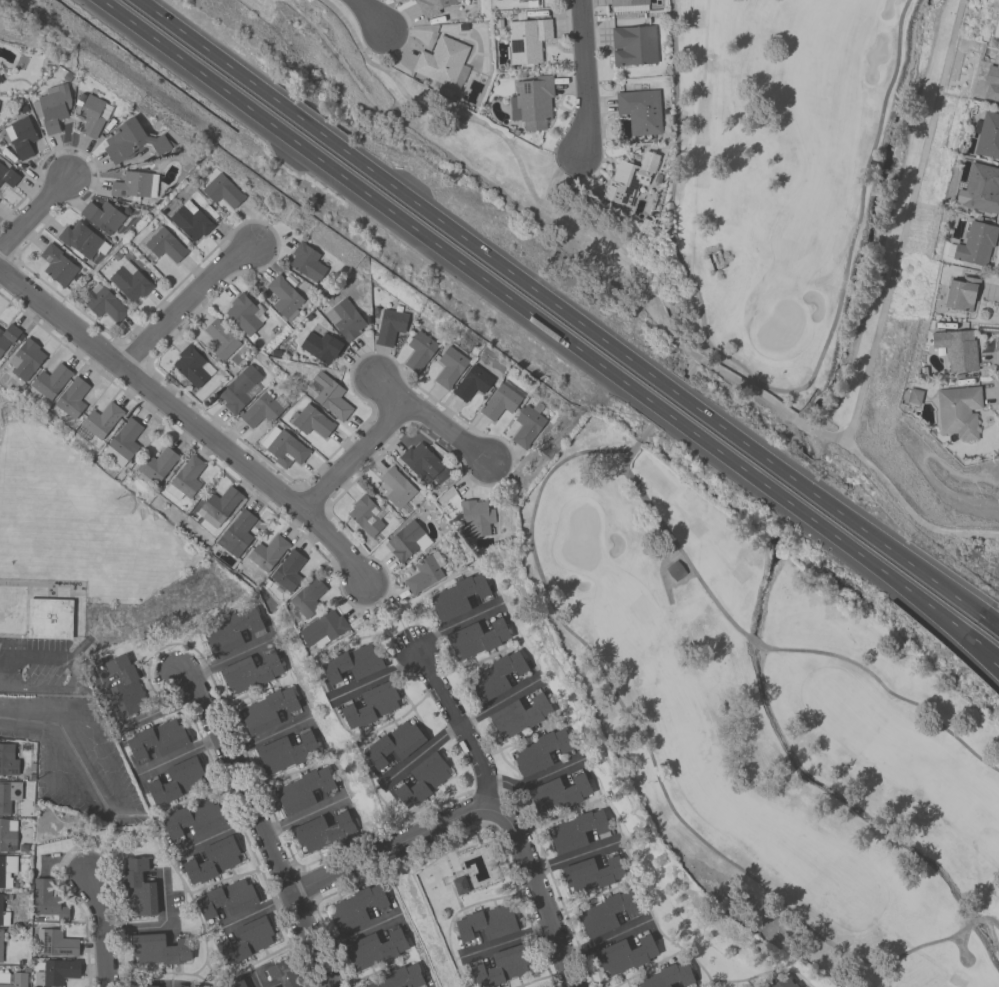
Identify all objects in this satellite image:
building: (628, 5)
building: (432, 6)
road: (367, 12)
building: (996, 27)
building: (526, 41)
building: (633, 45)
building: (443, 62)
road: (583, 75)
building: (0, 80)
building: (992, 82)
building: (531, 102)
building: (53, 107)
building: (639, 111)
building: (90, 115)
building: (988, 135)
building: (21, 136)
building: (131, 142)
building: (7, 174)
building: (629, 179)
building: (131, 185)
building: (219, 188)
building: (981, 189)
road: (33, 210)
building: (102, 216)
building: (190, 222)
road: (576, 225)
building: (81, 240)
building: (975, 244)
building: (164, 245)
road: (849, 251)
building: (306, 262)
building: (56, 264)
building: (129, 281)
building: (961, 293)
building: (283, 297)
road: (184, 303)
building: (104, 304)
building: (243, 314)
road: (881, 314)
road: (565, 316)
building: (345, 319)
road: (534, 320)
building: (390, 324)
building: (7, 336)
building: (220, 339)
building: (321, 347)
building: (956, 349)
building: (419, 350)
building: (25, 359)
building: (192, 365)
building: (449, 366)
building: (48, 382)
building: (471, 383)
building: (238, 389)
road: (387, 390)
building: (330, 396)
building: (71, 399)
building: (499, 402)
building: (260, 410)
building: (958, 411)
road: (186, 418)
road: (388, 418)
building: (99, 422)
building: (526, 426)
building: (123, 443)
building: (283, 447)
building: (420, 459)
building: (157, 464)
building: (187, 476)
building: (396, 487)
building: (218, 506)
park: (627, 507)
building: (365, 516)
building: (476, 516)
building: (236, 533)
building: (407, 540)
building: (267, 552)
building: (672, 570)
building: (288, 571)
building: (423, 574)
building: (457, 596)
building: (307, 598)
building: (50, 618)
road: (456, 622)
building: (322, 629)
building: (232, 630)
building: (477, 638)
road: (984, 654)
road: (224, 657)
building: (352, 664)
building: (250, 672)
building: (496, 675)
road: (375, 677)
road: (78, 679)
building: (125, 686)
road: (499, 701)
building: (371, 705)
building: (267, 710)
building: (519, 715)
road: (460, 723)
road: (126, 725)
road: (27, 729)
road: (263, 736)
building: (158, 738)
building: (393, 744)
building: (286, 751)
building: (539, 751)
road: (418, 752)
road: (177, 756)
building: (7, 760)
road: (112, 777)
building: (422, 780)
building: (177, 781)
road: (535, 781)
building: (302, 790)
building: (559, 792)
building: (8, 794)
road: (301, 815)
building: (193, 818)
road: (255, 824)
building: (577, 831)
road: (212, 832)
building: (321, 832)
building: (7, 835)
road: (388, 848)
road: (571, 857)
building: (213, 859)
building: (6, 869)
building: (591, 874)
building: (461, 886)
building: (138, 889)
road: (536, 891)
building: (227, 898)
building: (47, 900)
building: (356, 907)
road: (253, 910)
building: (606, 913)
building: (3, 916)
building: (486, 923)
road: (162, 926)
road: (104, 927)
road: (356, 932)
road: (606, 937)
road: (505, 939)
building: (245, 941)
building: (55, 942)
building: (1, 946)
building: (375, 948)
building: (158, 950)
building: (624, 955)
building: (501, 966)
building: (56, 972)
building: (283, 973)
building: (667, 976)
building: (399, 977)
road: (257, 978)
building: (16, 980)
building: (782, 982)
road: (170, 984)
building: (236, 984)
building: (144, 986)
road: (749, 986)

